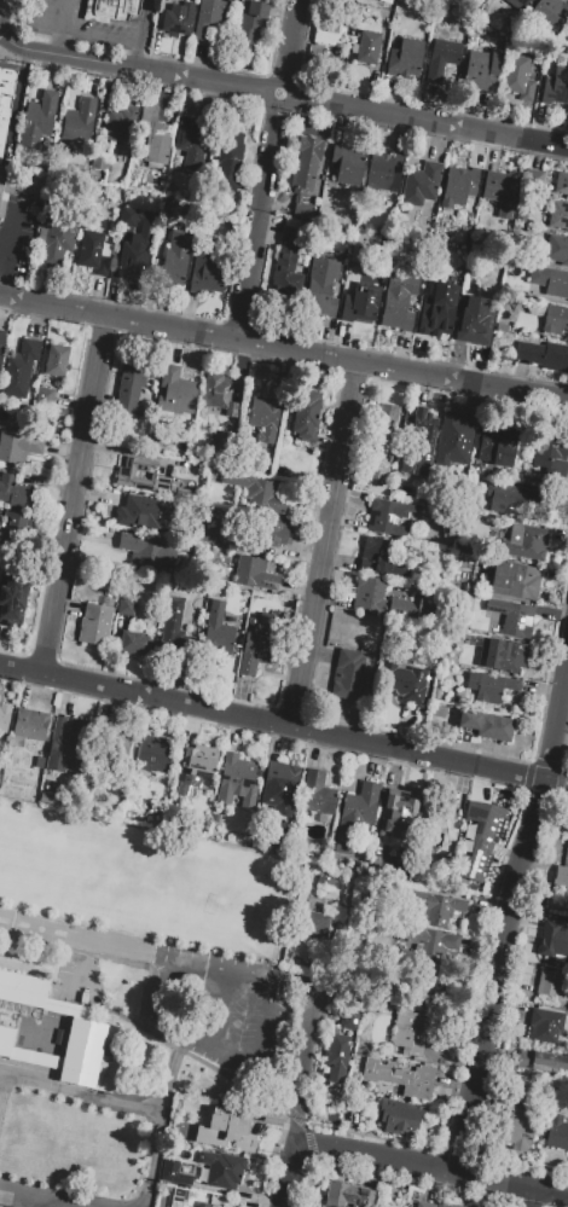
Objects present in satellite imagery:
building: (388, 0)
road: (1, 2)
building: (520, 5)
building: (111, 10)
road: (17, 11)
building: (547, 14)
road: (63, 16)
building: (209, 17)
building: (178, 19)
parking lot: (66, 23)
building: (248, 23)
road: (5, 27)
building: (567, 27)
building: (328, 33)
road: (143, 36)
road: (56, 43)
building: (366, 46)
road: (23, 50)
building: (404, 57)
building: (441, 58)
road: (83, 62)
building: (481, 70)
building: (517, 77)
building: (557, 81)
building: (6, 99)
road: (341, 105)
building: (37, 118)
building: (77, 121)
building: (121, 124)
building: (153, 137)
building: (191, 140)
building: (228, 156)
building: (346, 162)
building: (382, 169)
road: (269, 170)
building: (305, 173)
building: (1, 176)
building: (534, 180)
building: (561, 182)
building: (421, 184)
building: (459, 184)
building: (498, 185)
building: (36, 195)
building: (168, 201)
building: (1, 209)
building: (558, 215)
building: (127, 216)
building: (522, 219)
building: (292, 222)
building: (57, 234)
parking lot: (16, 245)
building: (88, 249)
building: (360, 249)
building: (557, 249)
building: (285, 250)
road: (4, 256)
building: (175, 259)
road: (6, 262)
building: (133, 262)
building: (102, 266)
building: (205, 273)
building: (550, 279)
building: (285, 284)
building: (319, 296)
building: (399, 298)
building: (360, 303)
building: (437, 317)
building: (555, 319)
building: (473, 324)
building: (500, 326)
building: (1, 342)
road: (284, 349)
building: (543, 354)
building: (56, 356)
building: (19, 369)
building: (132, 387)
building: (175, 391)
building: (220, 391)
building: (42, 398)
building: (60, 411)
building: (265, 412)
building: (305, 414)
building: (453, 440)
building: (381, 441)
building: (417, 442)
building: (497, 443)
building: (18, 447)
building: (549, 451)
building: (124, 476)
building: (13, 492)
building: (255, 492)
road: (70, 495)
building: (511, 498)
building: (149, 511)
building: (387, 517)
building: (15, 527)
building: (208, 530)
building: (261, 530)
building: (220, 535)
building: (526, 541)
road: (326, 545)
building: (145, 550)
building: (381, 558)
building: (254, 573)
building: (515, 581)
building: (369, 588)
building: (12, 599)
building: (126, 607)
building: (510, 616)
building: (95, 622)
building: (174, 626)
building: (218, 632)
building: (133, 643)
building: (257, 644)
building: (503, 655)
building: (347, 674)
building: (369, 674)
building: (405, 685)
building: (489, 686)
building: (531, 690)
building: (436, 692)
building: (4, 716)
road: (284, 724)
building: (28, 725)
building: (486, 725)
building: (66, 742)
building: (117, 747)
building: (153, 753)
building: (39, 762)
building: (195, 766)
building: (280, 777)
building: (237, 781)
building: (317, 793)
building: (360, 803)
building: (396, 808)
building: (445, 826)
building: (465, 836)
building: (477, 836)
building: (564, 871)
building: (324, 882)
building: (317, 900)
building: (436, 907)
road: (503, 919)
building: (313, 927)
road: (76, 936)
building: (429, 942)
building: (553, 942)
road: (233, 970)
building: (431, 981)
building: (551, 985)
building: (36, 994)
parking lot: (220, 1009)
road: (231, 1014)
building: (349, 1021)
road: (269, 1023)
building: (545, 1025)
building: (410, 1033)
road: (203, 1046)
building: (24, 1050)
building: (87, 1056)
building: (540, 1060)
building: (338, 1061)
road: (305, 1064)
building: (411, 1080)
building: (523, 1098)
building: (329, 1116)
building: (400, 1118)
road: (161, 1122)
building: (521, 1127)
building: (230, 1128)
building: (556, 1132)
road: (429, 1168)
building: (222, 1170)
road: (284, 1174)
building: (168, 1178)
building: (182, 1178)
building: (179, 1195)
building: (347, 1195)
road: (58, 1197)
road: (533, 1197)
building: (209, 1205)
building: (424, 1205)
building: (447, 1205)
building: (474, 1206)

